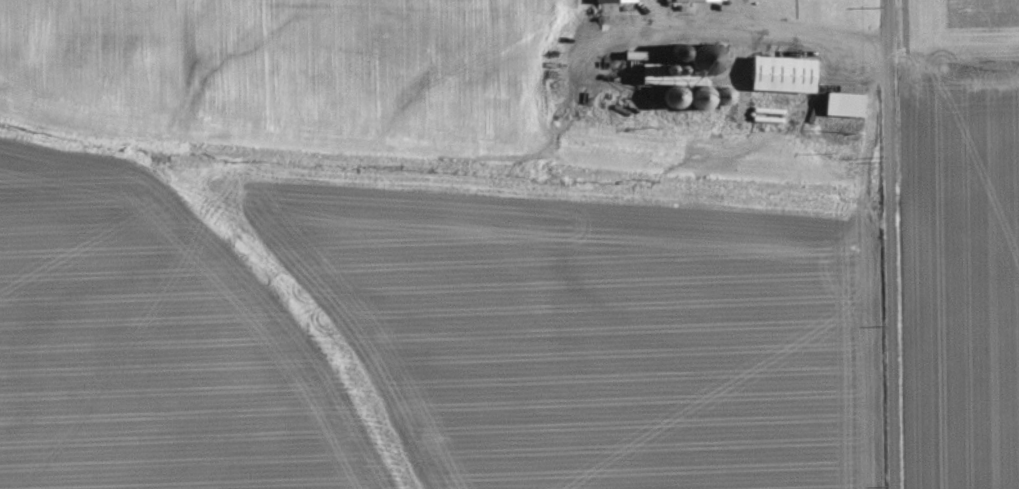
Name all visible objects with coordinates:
building: (603, 0)
road: (751, 36)
building: (783, 70)
building: (847, 102)
road: (887, 244)

